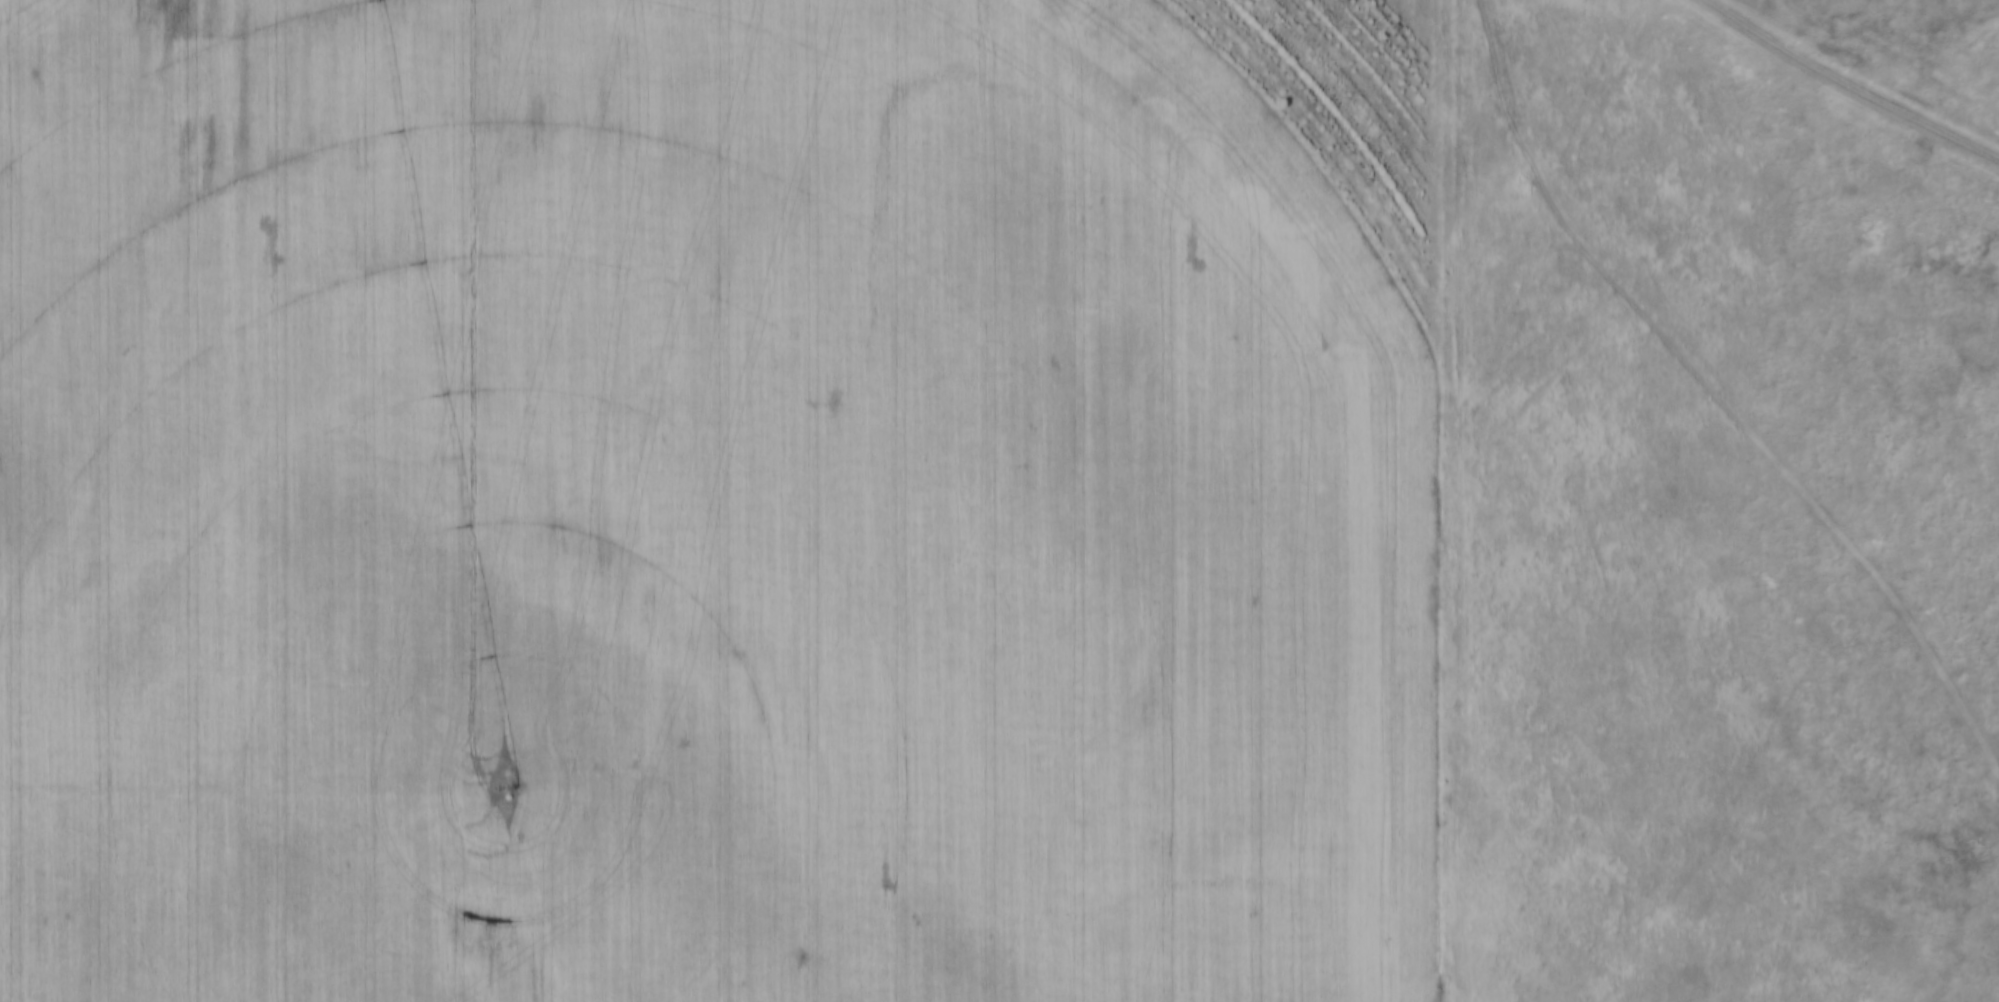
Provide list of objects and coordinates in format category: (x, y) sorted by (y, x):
crop: (698, 512)

